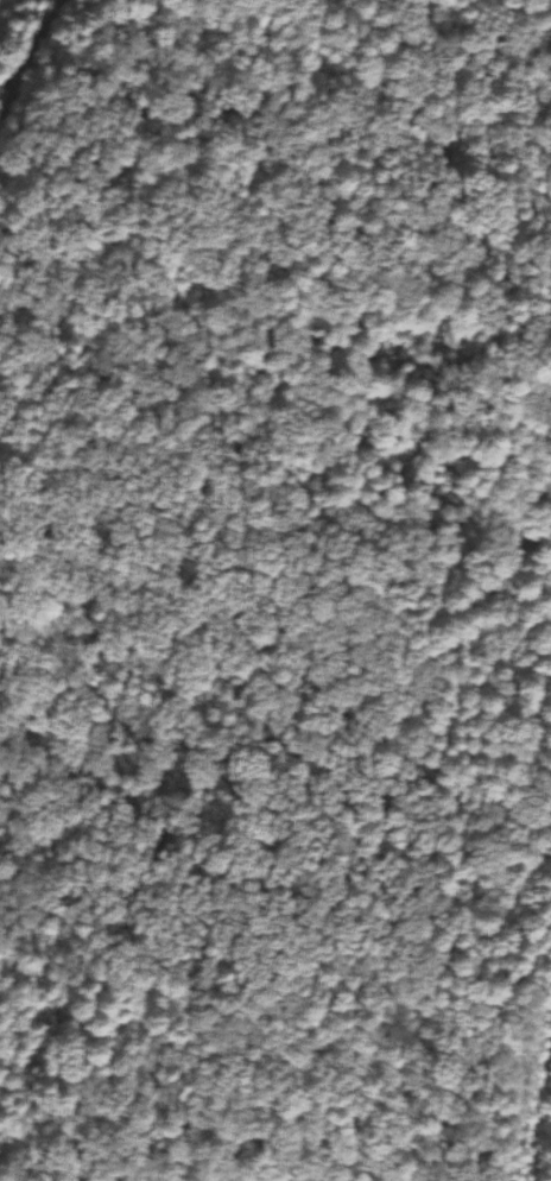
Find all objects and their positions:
road: (30, 53)

